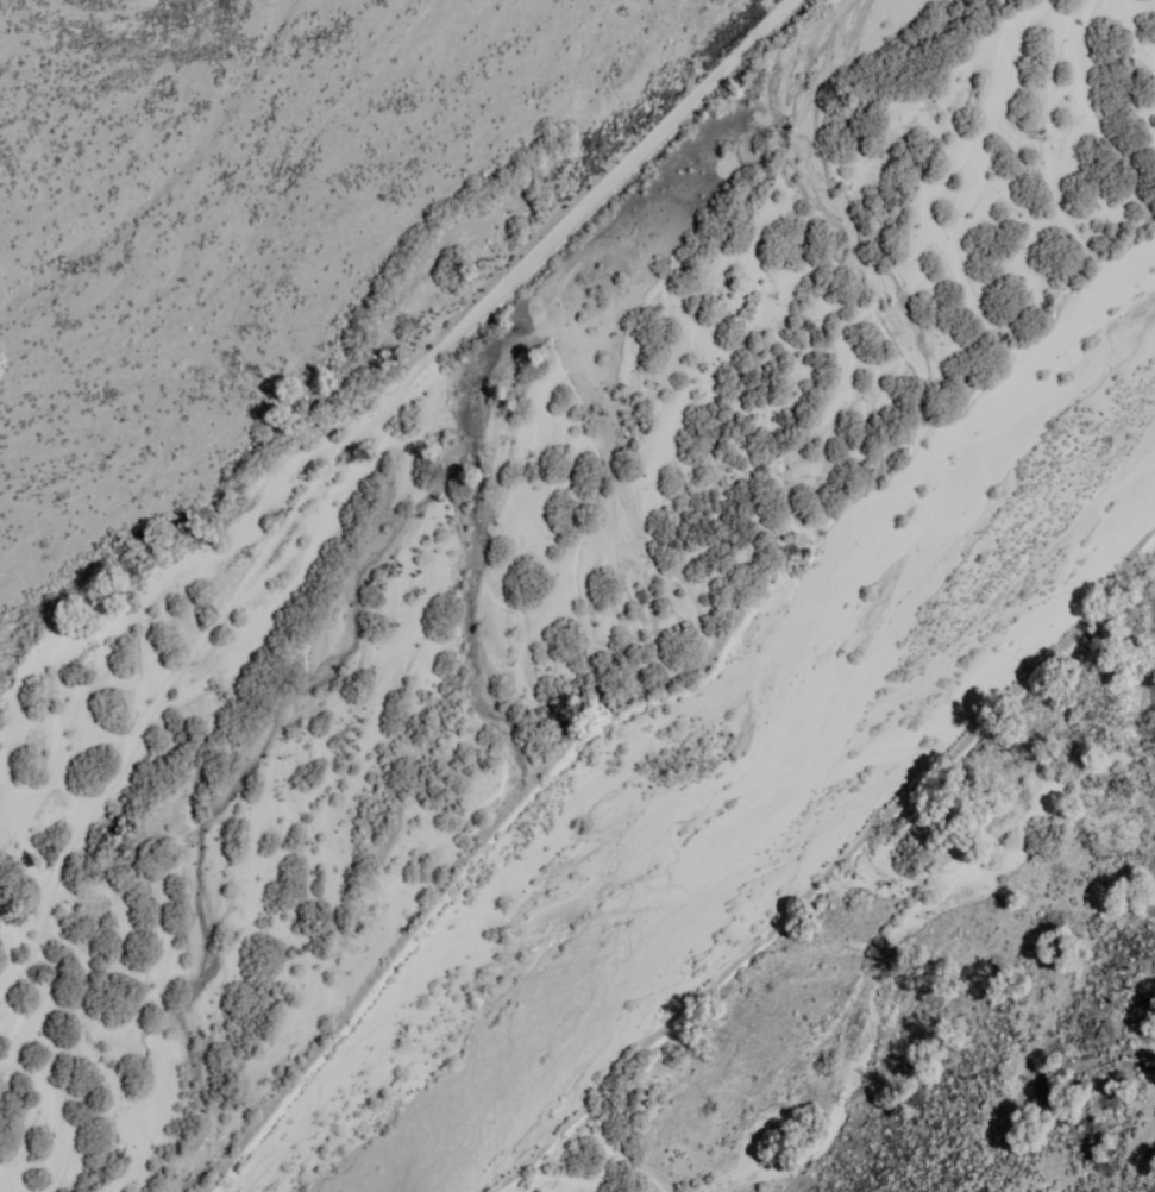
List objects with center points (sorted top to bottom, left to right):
river: (897, 934)

